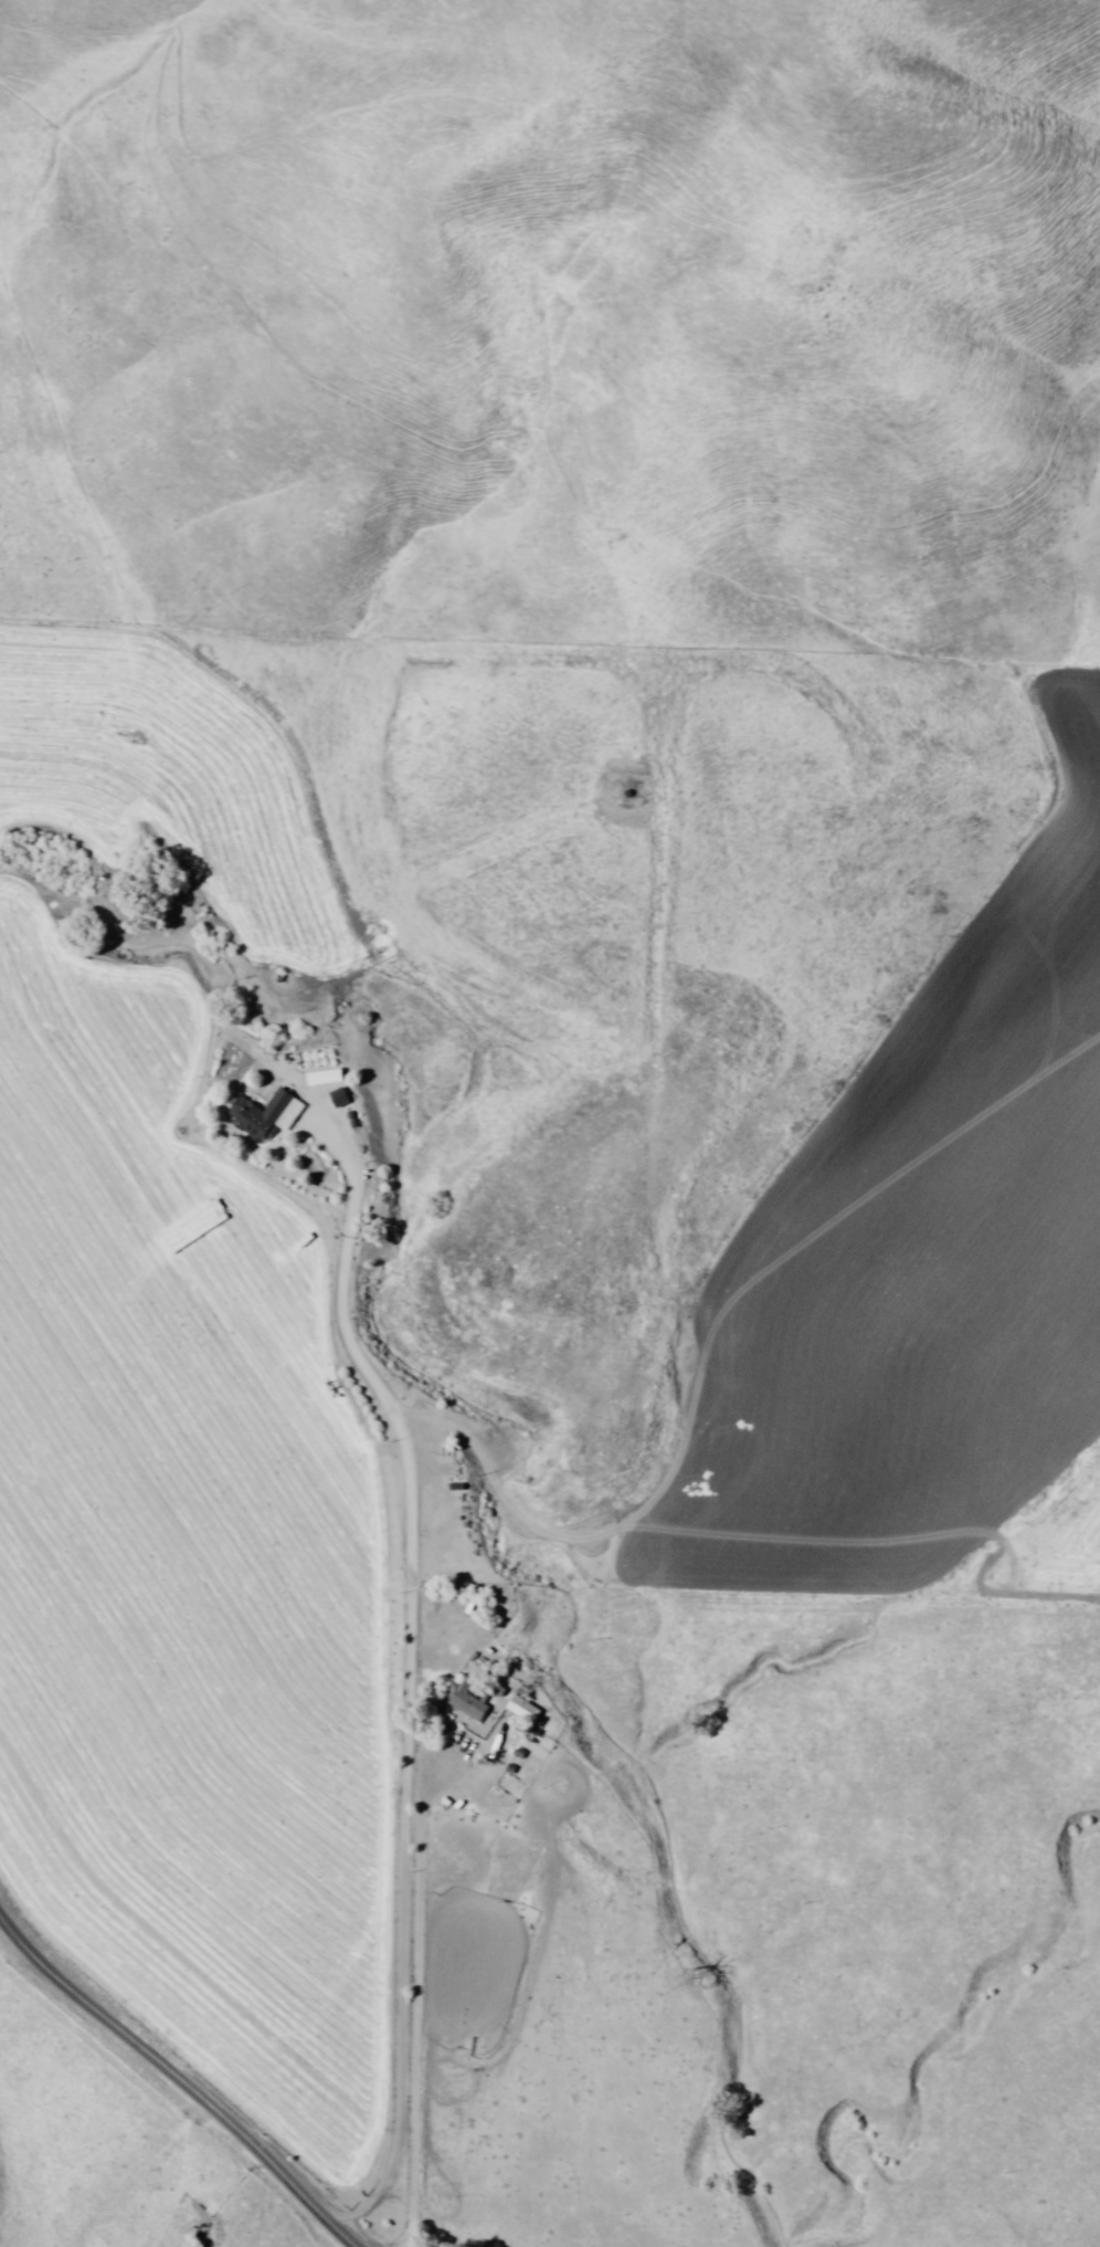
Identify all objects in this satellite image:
crop: (676, 1020)
building: (314, 1074)
building: (256, 1116)
crop: (917, 1279)
crop: (173, 1484)
road: (402, 1649)
building: (486, 1686)
building: (468, 1698)
building: (519, 1709)
road: (180, 2075)

